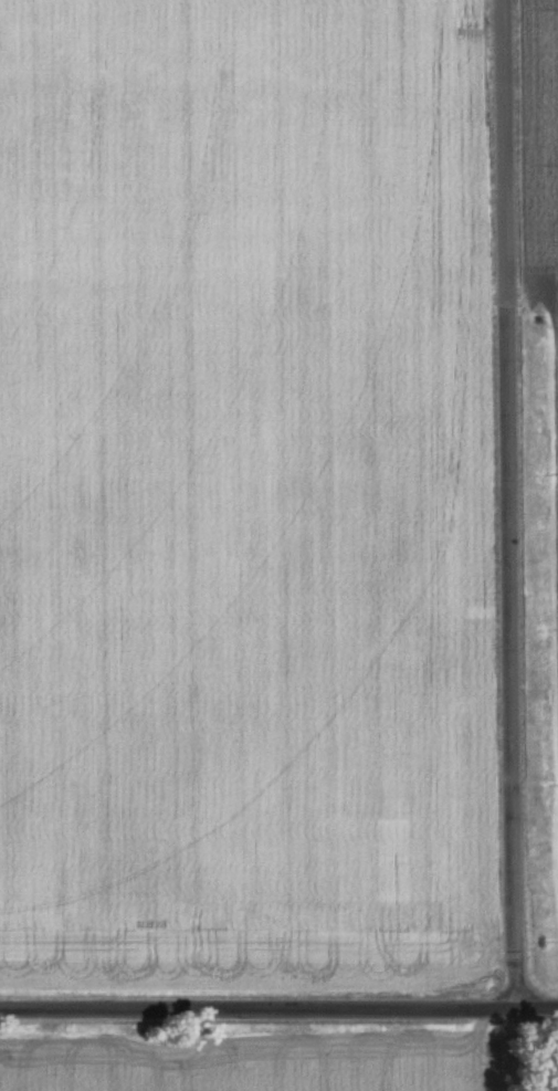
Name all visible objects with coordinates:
road: (514, 507)
road: (278, 1018)

